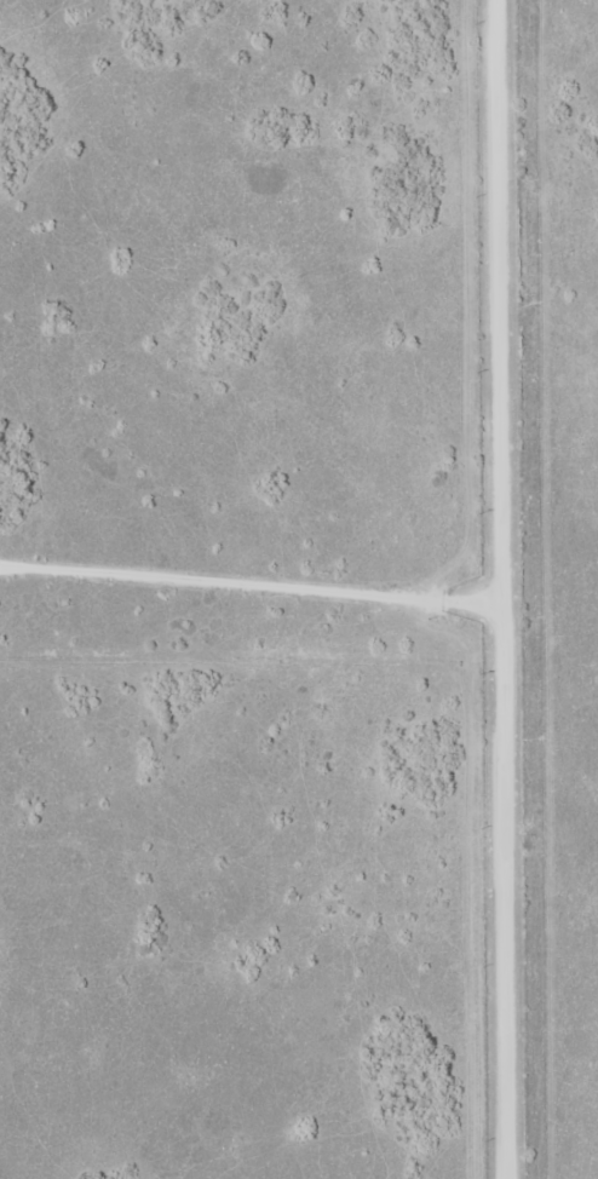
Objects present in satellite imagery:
road: (484, 589)

